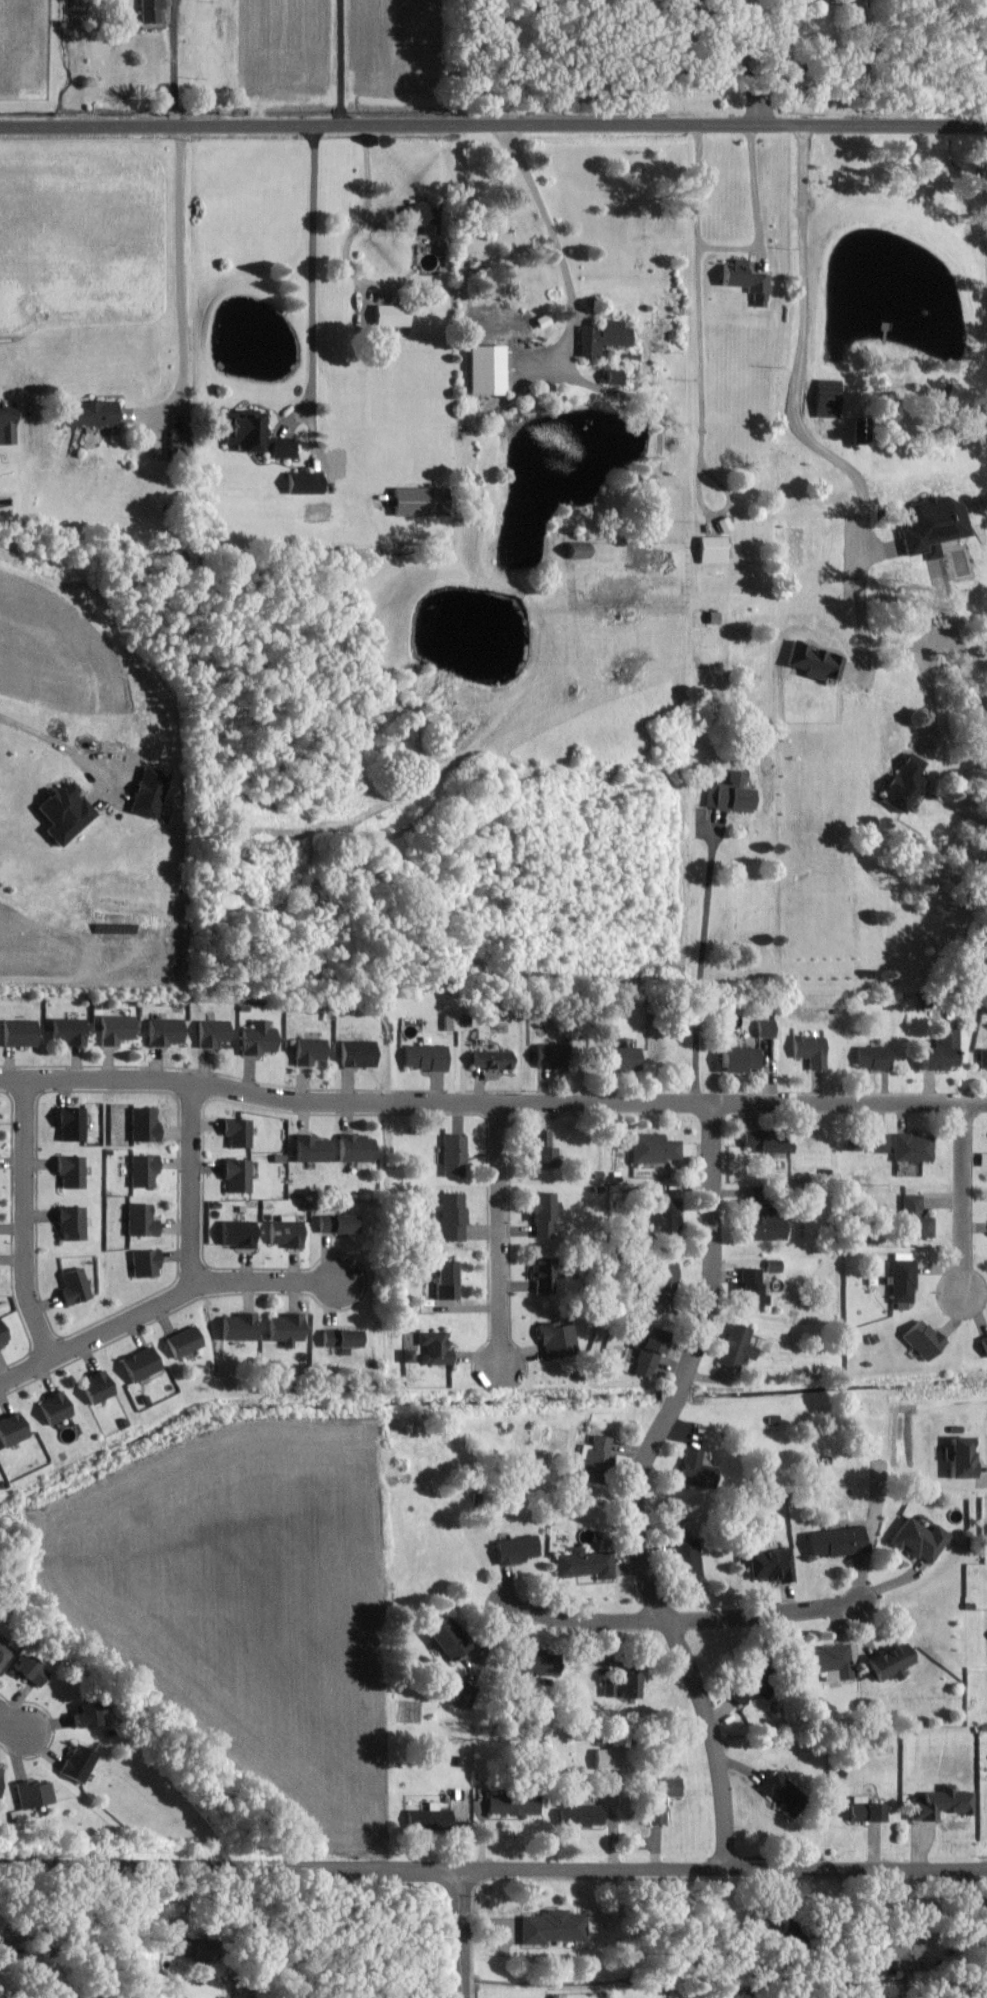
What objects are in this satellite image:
building: (151, 10)
road: (742, 62)
road: (860, 62)
road: (173, 63)
road: (338, 63)
road: (493, 125)
building: (425, 216)
road: (753, 222)
road: (357, 224)
road: (554, 254)
building: (743, 280)
road: (311, 284)
road: (178, 286)
building: (392, 315)
building: (602, 337)
road: (698, 362)
building: (485, 370)
building: (827, 398)
building: (89, 413)
building: (7, 425)
building: (859, 432)
building: (255, 436)
building: (178, 442)
road: (832, 465)
building: (304, 482)
building: (418, 501)
building: (931, 526)
building: (711, 549)
building: (813, 663)
road: (62, 753)
building: (901, 784)
building: (148, 792)
building: (731, 793)
building: (63, 812)
road: (698, 962)
building: (451, 1021)
building: (766, 1027)
building: (117, 1028)
building: (69, 1030)
building: (165, 1031)
building: (19, 1032)
building: (212, 1032)
building: (258, 1037)
building: (309, 1050)
building: (810, 1050)
building: (940, 1050)
building: (355, 1053)
building: (547, 1055)
building: (425, 1056)
building: (738, 1056)
building: (872, 1057)
building: (619, 1058)
building: (983, 1058)
building: (491, 1059)
road: (355, 1101)
road: (850, 1102)
building: (70, 1122)
building: (143, 1124)
building: (237, 1131)
building: (766, 1141)
building: (879, 1143)
building: (654, 1147)
building: (913, 1147)
building: (311, 1148)
building: (355, 1148)
building: (539, 1148)
building: (453, 1155)
building: (143, 1169)
building: (70, 1170)
building: (237, 1174)
road: (192, 1182)
road: (963, 1199)
building: (540, 1213)
building: (451, 1215)
road: (26, 1218)
building: (915, 1218)
building: (141, 1220)
building: (667, 1220)
building: (70, 1222)
building: (336, 1223)
building: (764, 1224)
building: (286, 1232)
building: (237, 1233)
road: (499, 1235)
building: (145, 1262)
building: (773, 1265)
building: (661, 1272)
building: (541, 1275)
building: (901, 1277)
building: (444, 1279)
road: (266, 1280)
building: (73, 1284)
building: (748, 1286)
building: (286, 1326)
building: (237, 1327)
road: (98, 1332)
building: (3, 1334)
building: (338, 1337)
building: (922, 1338)
building: (557, 1339)
building: (184, 1341)
building: (983, 1342)
building: (736, 1346)
building: (434, 1347)
building: (646, 1348)
building: (407, 1355)
building: (140, 1363)
building: (97, 1387)
building: (55, 1407)
building: (12, 1428)
building: (960, 1457)
building: (596, 1460)
building: (697, 1469)
road: (638, 1484)
building: (919, 1539)
building: (836, 1541)
building: (516, 1549)
building: (688, 1558)
building: (585, 1564)
building: (769, 1565)
road: (683, 1619)
building: (445, 1638)
building: (4, 1653)
building: (832, 1660)
building: (891, 1661)
building: (532, 1664)
building: (29, 1670)
building: (626, 1685)
building: (746, 1685)
building: (464, 1695)
building: (83, 1715)
road: (5, 1721)
road: (13, 1729)
building: (607, 1758)
building: (77, 1762)
building: (0, 1781)
building: (781, 1793)
building: (33, 1794)
building: (660, 1797)
building: (940, 1803)
building: (513, 1804)
building: (864, 1810)
building: (581, 1814)
building: (429, 1819)
road: (493, 1867)
building: (762, 1923)
building: (554, 1927)
road: (464, 1933)
building: (899, 1949)
building: (185, 1951)

